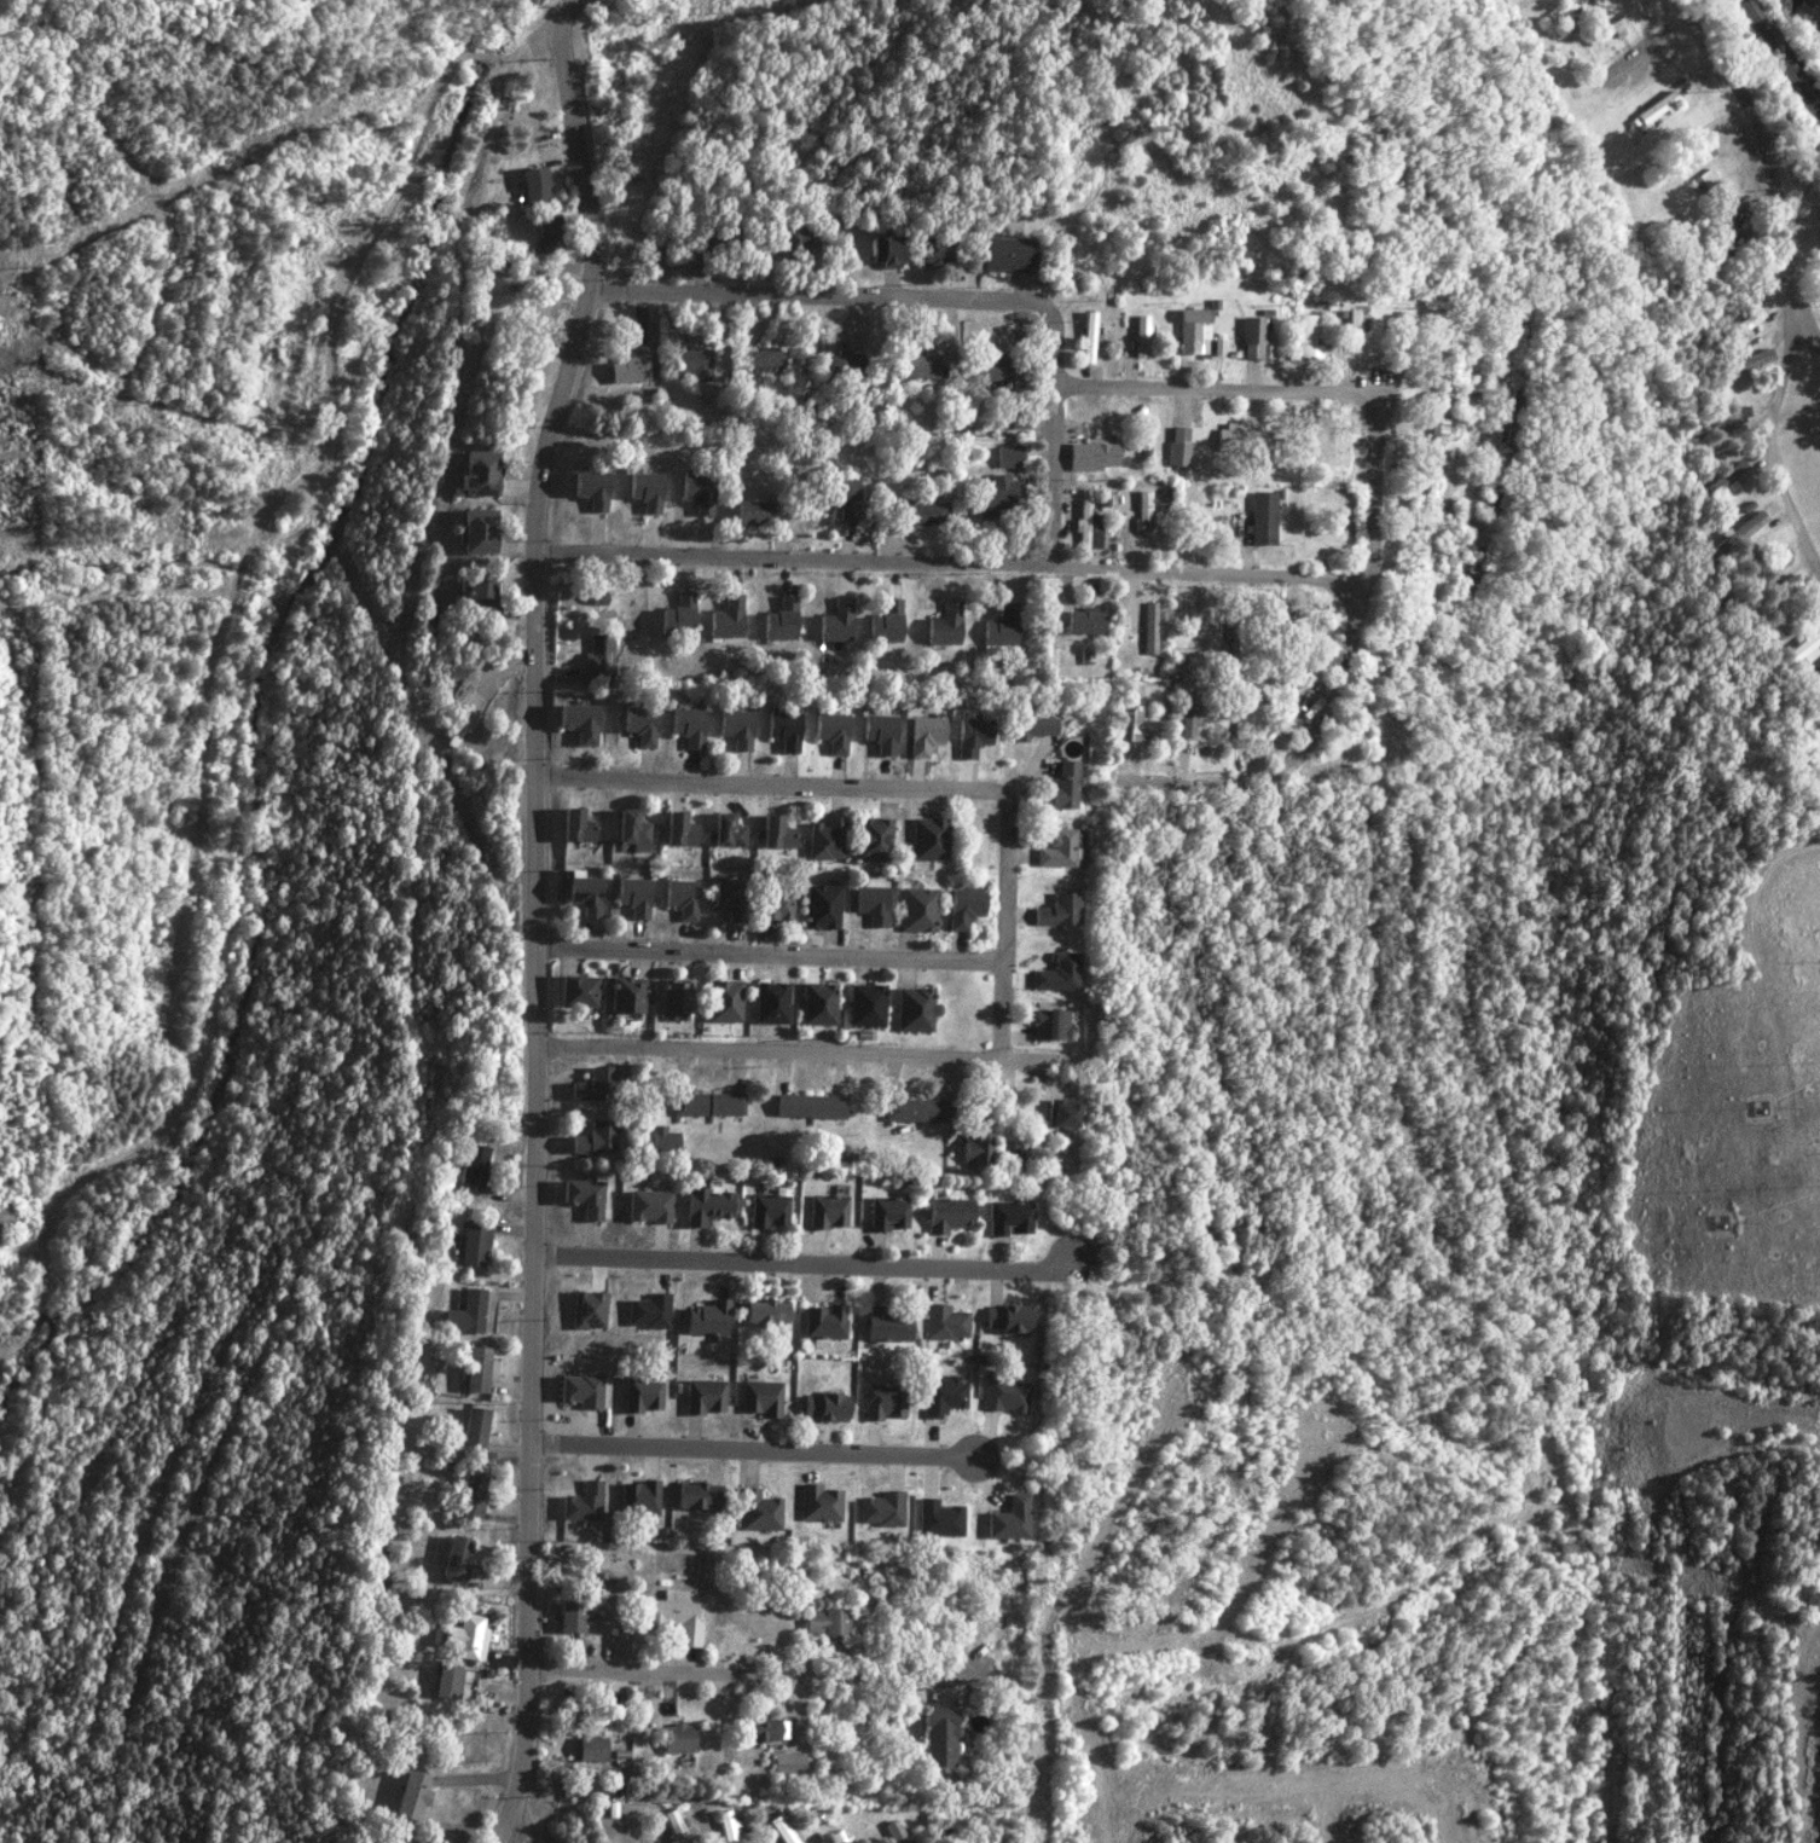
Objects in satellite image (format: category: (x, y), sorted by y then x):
river: (1810, 13)
railway: (1779, 60)
building: (1658, 106)
building: (1682, 157)
road: (1769, 166)
building: (532, 185)
road: (1068, 224)
building: (546, 233)
building: (798, 242)
building: (1720, 249)
building: (883, 250)
building: (932, 250)
building: (1008, 254)
road: (361, 257)
road: (816, 295)
building: (1746, 325)
building: (1356, 328)
building: (1195, 330)
building: (1442, 331)
building: (1142, 335)
building: (1089, 336)
building: (1254, 337)
building: (1310, 337)
building: (764, 360)
building: (691, 363)
building: (1744, 363)
building: (844, 364)
building: (920, 364)
building: (626, 369)
building: (1004, 371)
road: (1221, 387)
building: (1728, 415)
building: (1514, 418)
road: (1054, 437)
building: (1244, 440)
road: (1769, 442)
building: (1179, 446)
building: (1009, 456)
building: (1092, 456)
building: (477, 473)
building: (1726, 480)
building: (590, 488)
building: (643, 491)
building: (697, 492)
building: (842, 497)
building: (999, 497)
building: (754, 512)
building: (1143, 512)
building: (926, 514)
building: (1264, 517)
building: (1083, 522)
building: (479, 531)
building: (1743, 531)
road: (954, 566)
building: (479, 592)
building: (951, 605)
building: (678, 614)
building: (726, 618)
building: (781, 619)
building: (836, 620)
building: (1086, 621)
building: (887, 622)
building: (1150, 627)
building: (943, 630)
building: (999, 631)
building: (1236, 639)
building: (1796, 655)
building: (598, 660)
road: (1344, 673)
building: (578, 721)
building: (637, 724)
building: (1129, 725)
building: (685, 726)
building: (1028, 726)
building: (734, 728)
building: (782, 729)
building: (830, 731)
building: (879, 732)
building: (923, 734)
building: (973, 735)
building: (1065, 786)
road: (854, 787)
building: (574, 825)
building: (677, 829)
building: (630, 830)
building: (726, 831)
building: (773, 831)
building: (825, 839)
building: (873, 839)
building: (929, 839)
building: (1057, 848)
building: (582, 893)
building: (631, 896)
building: (678, 898)
building: (728, 899)
building: (873, 904)
building: (775, 905)
building: (822, 906)
building: (964, 908)
building: (918, 909)
building: (1059, 910)
road: (534, 916)
road: (771, 957)
road: (1015, 963)
building: (1057, 973)
building: (576, 990)
building: (625, 995)
building: (673, 998)
building: (723, 1001)
building: (771, 1002)
building: (819, 1003)
building: (868, 1005)
building: (916, 1009)
building: (1049, 1024)
road: (813, 1053)
building: (589, 1085)
building: (706, 1103)
building: (810, 1106)
building: (918, 1109)
building: (1063, 1113)
building: (590, 1140)
building: (660, 1141)
building: (976, 1147)
building: (474, 1169)
building: (582, 1196)
building: (703, 1205)
building: (647, 1206)
building: (769, 1211)
building: (828, 1211)
building: (888, 1213)
building: (949, 1215)
building: (1010, 1218)
building: (476, 1242)
road: (817, 1263)
building: (587, 1310)
building: (648, 1310)
building: (766, 1312)
building: (468, 1314)
building: (1007, 1319)
building: (708, 1320)
building: (946, 1322)
building: (825, 1323)
building: (886, 1325)
building: (479, 1369)
building: (581, 1390)
building: (642, 1395)
building: (706, 1396)
building: (944, 1396)
building: (1007, 1396)
building: (761, 1397)
building: (883, 1402)
building: (825, 1407)
building: (476, 1431)
road: (763, 1450)
building: (471, 1496)
building: (697, 1496)
building: (638, 1497)
building: (584, 1502)
building: (819, 1503)
building: (882, 1509)
building: (759, 1511)
building: (939, 1518)
building: (1009, 1519)
building: (457, 1559)
building: (570, 1617)
building: (674, 1617)
building: (824, 1622)
building: (466, 1638)
road: (738, 1676)
building: (448, 1682)
building: (764, 1731)
building: (938, 1737)
building: (678, 1739)
building: (592, 1749)
building: (787, 1763)
building: (412, 1796)
building: (726, 1826)
building: (676, 1827)
building: (782, 1830)
building: (894, 1831)
road: (508, 1837)
building: (836, 1837)

